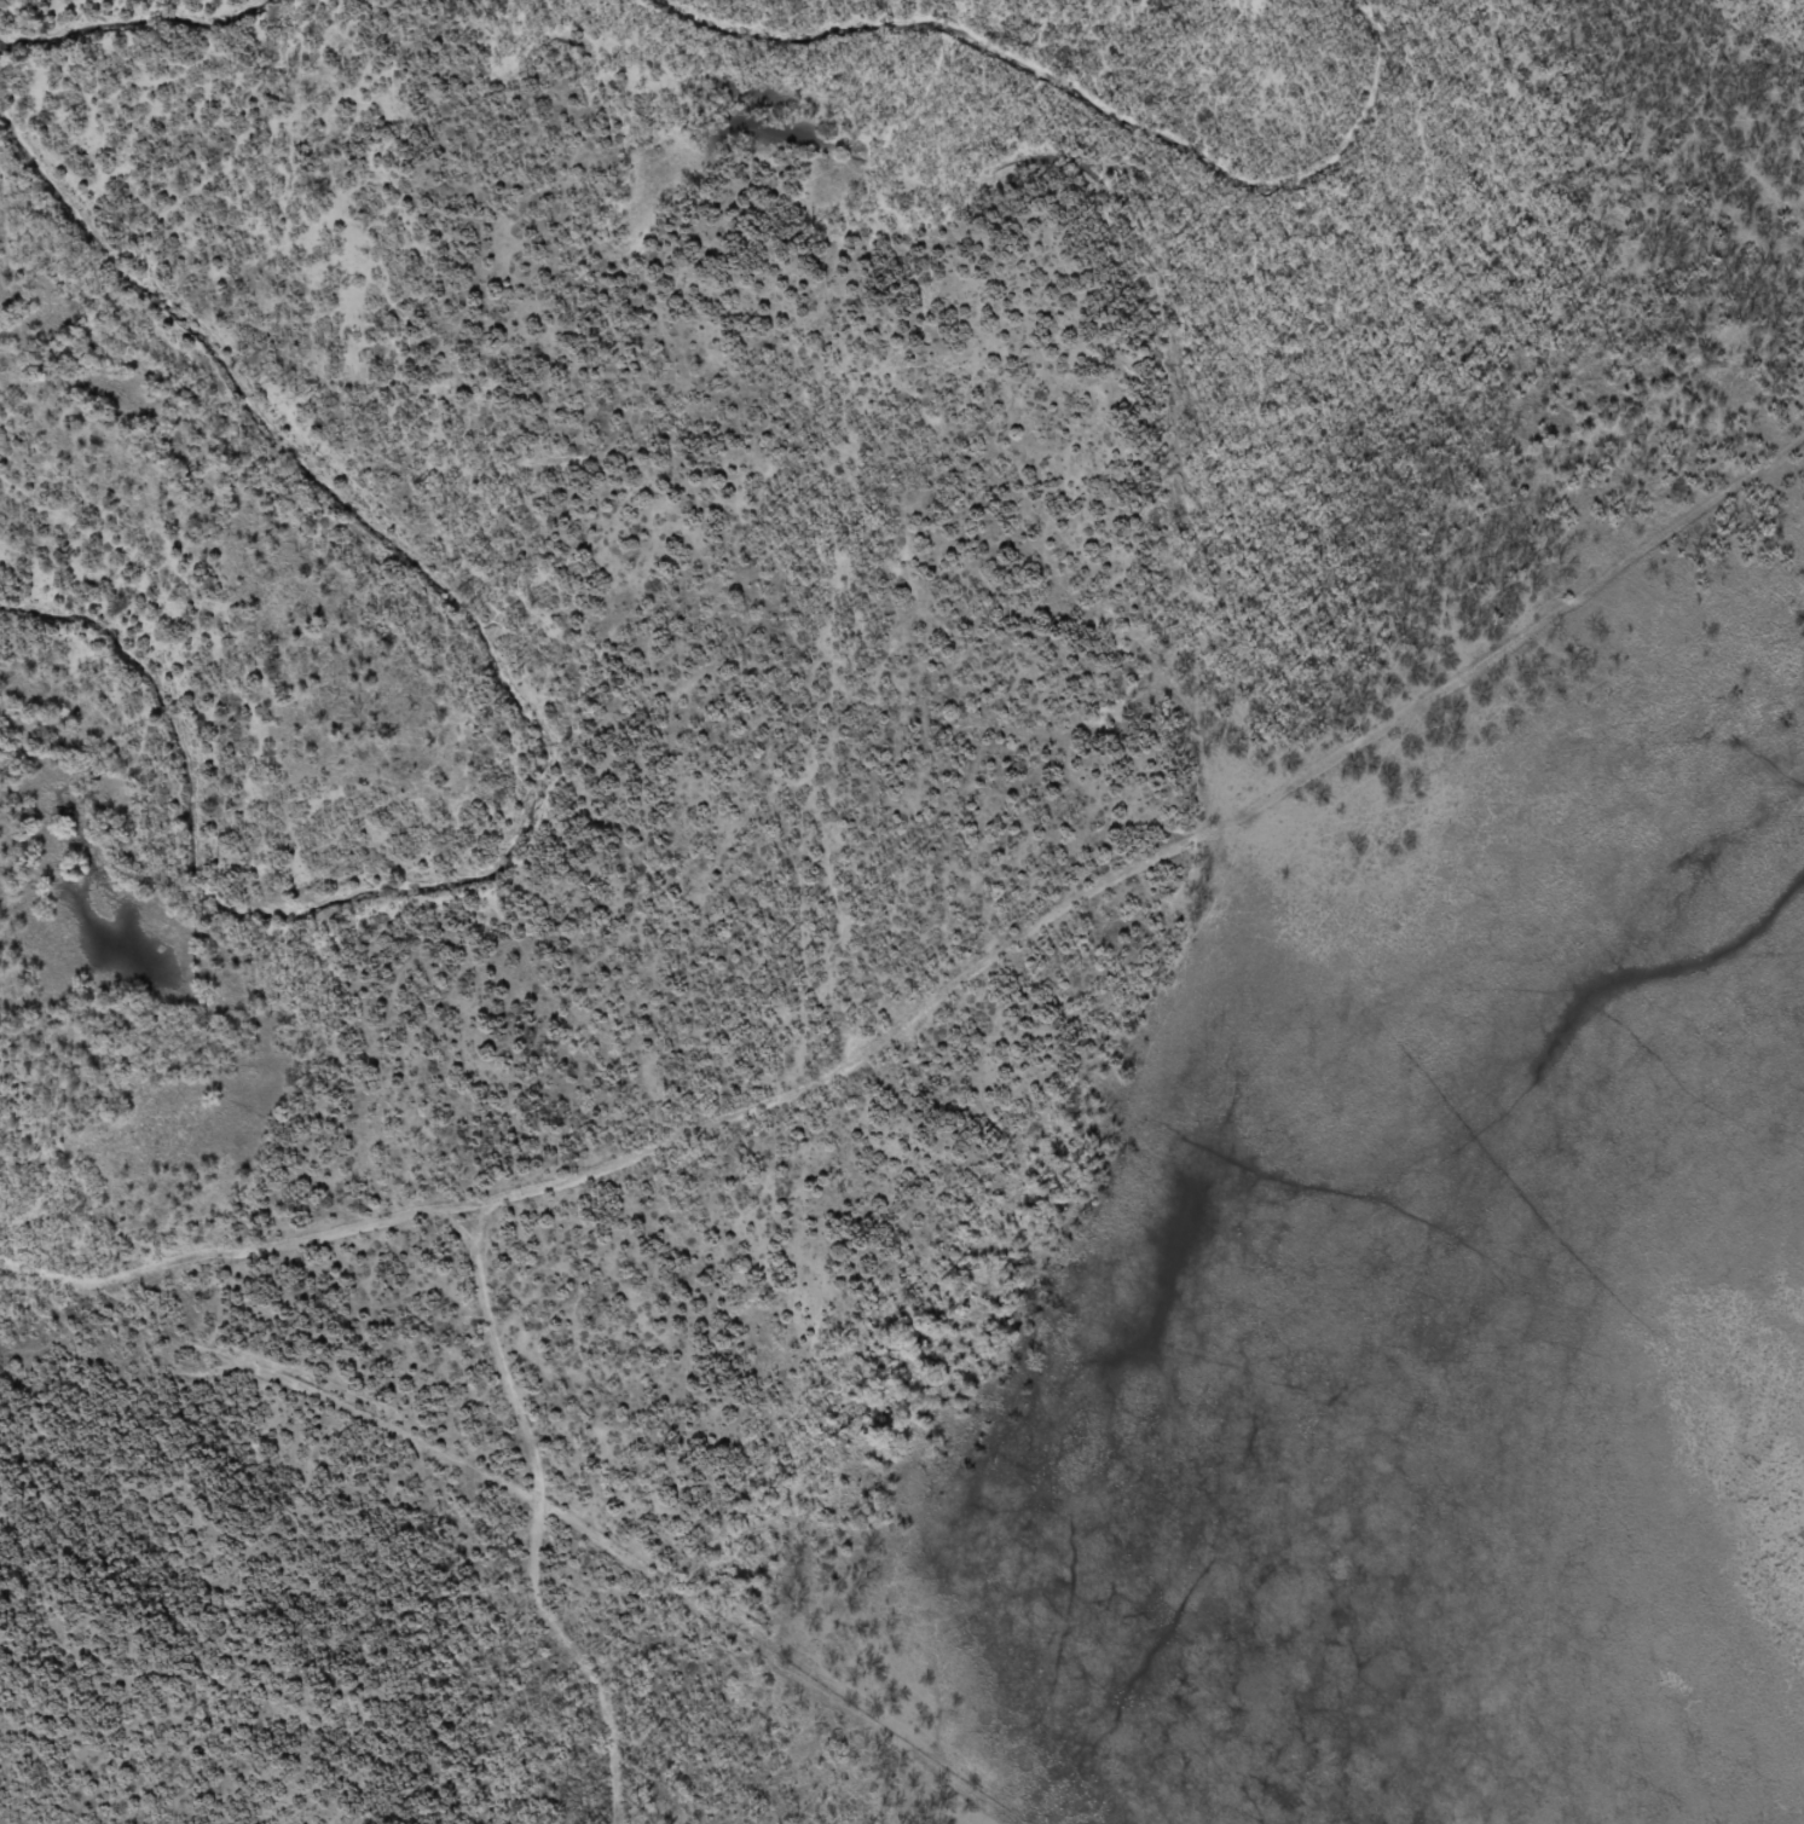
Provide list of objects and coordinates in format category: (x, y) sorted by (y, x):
road: (784, 1000)
road: (189, 1344)

